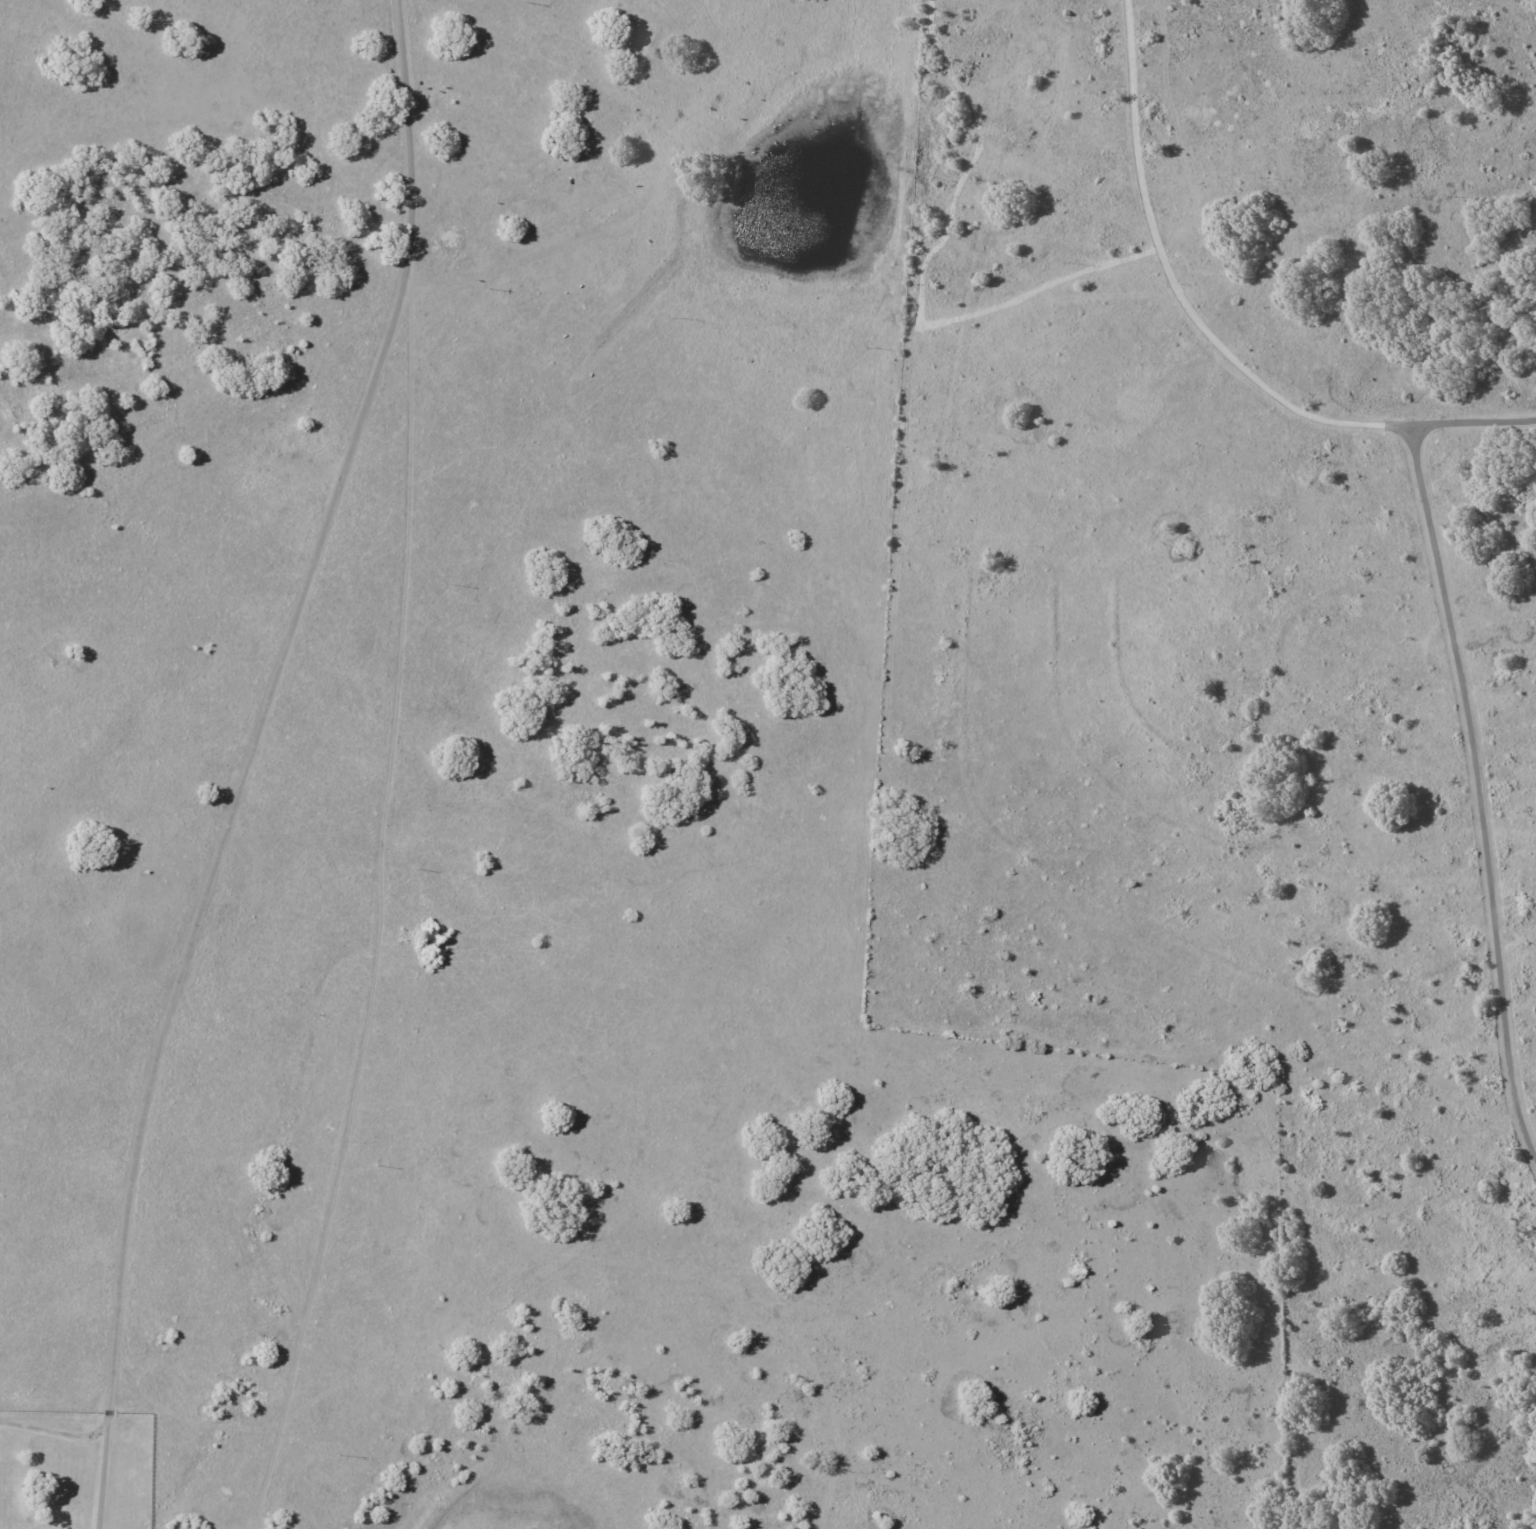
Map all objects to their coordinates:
road: (1211, 337)
road: (251, 762)
road: (55, 1433)

